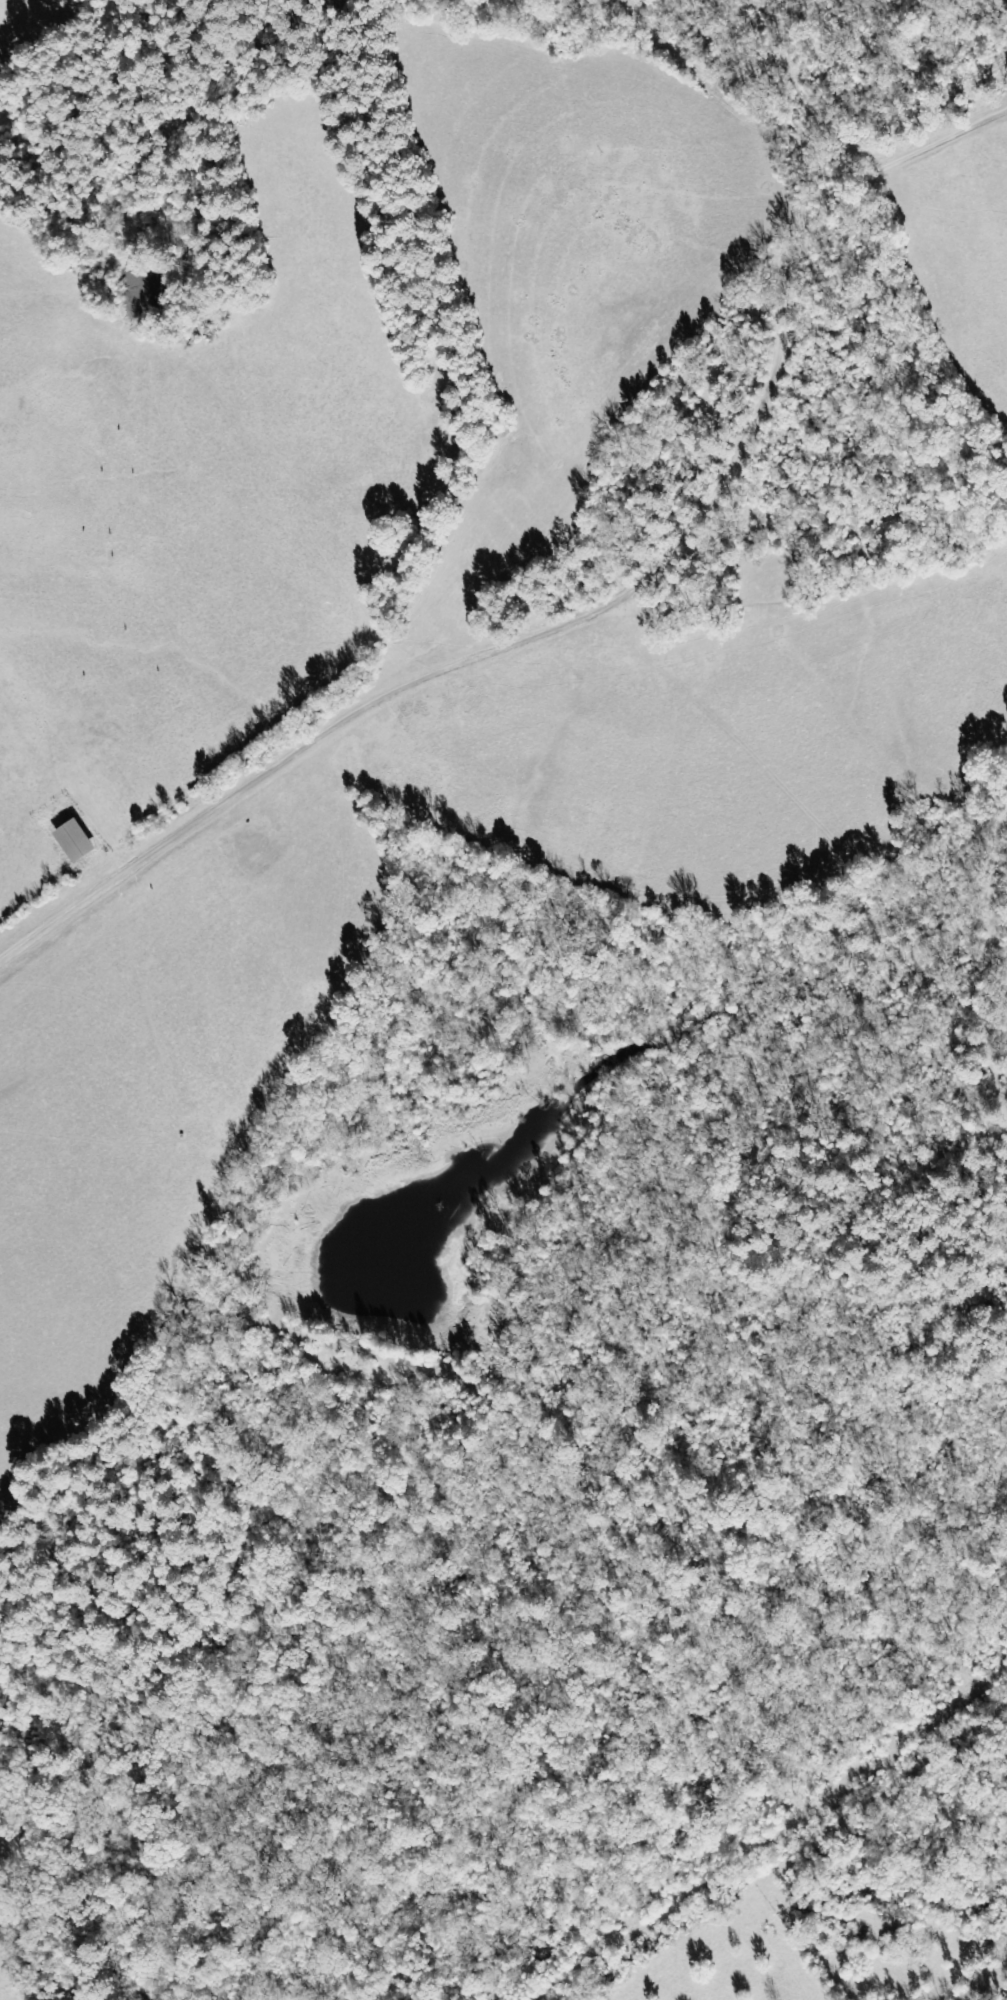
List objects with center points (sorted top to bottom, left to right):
road: (791, 179)
building: (77, 841)

